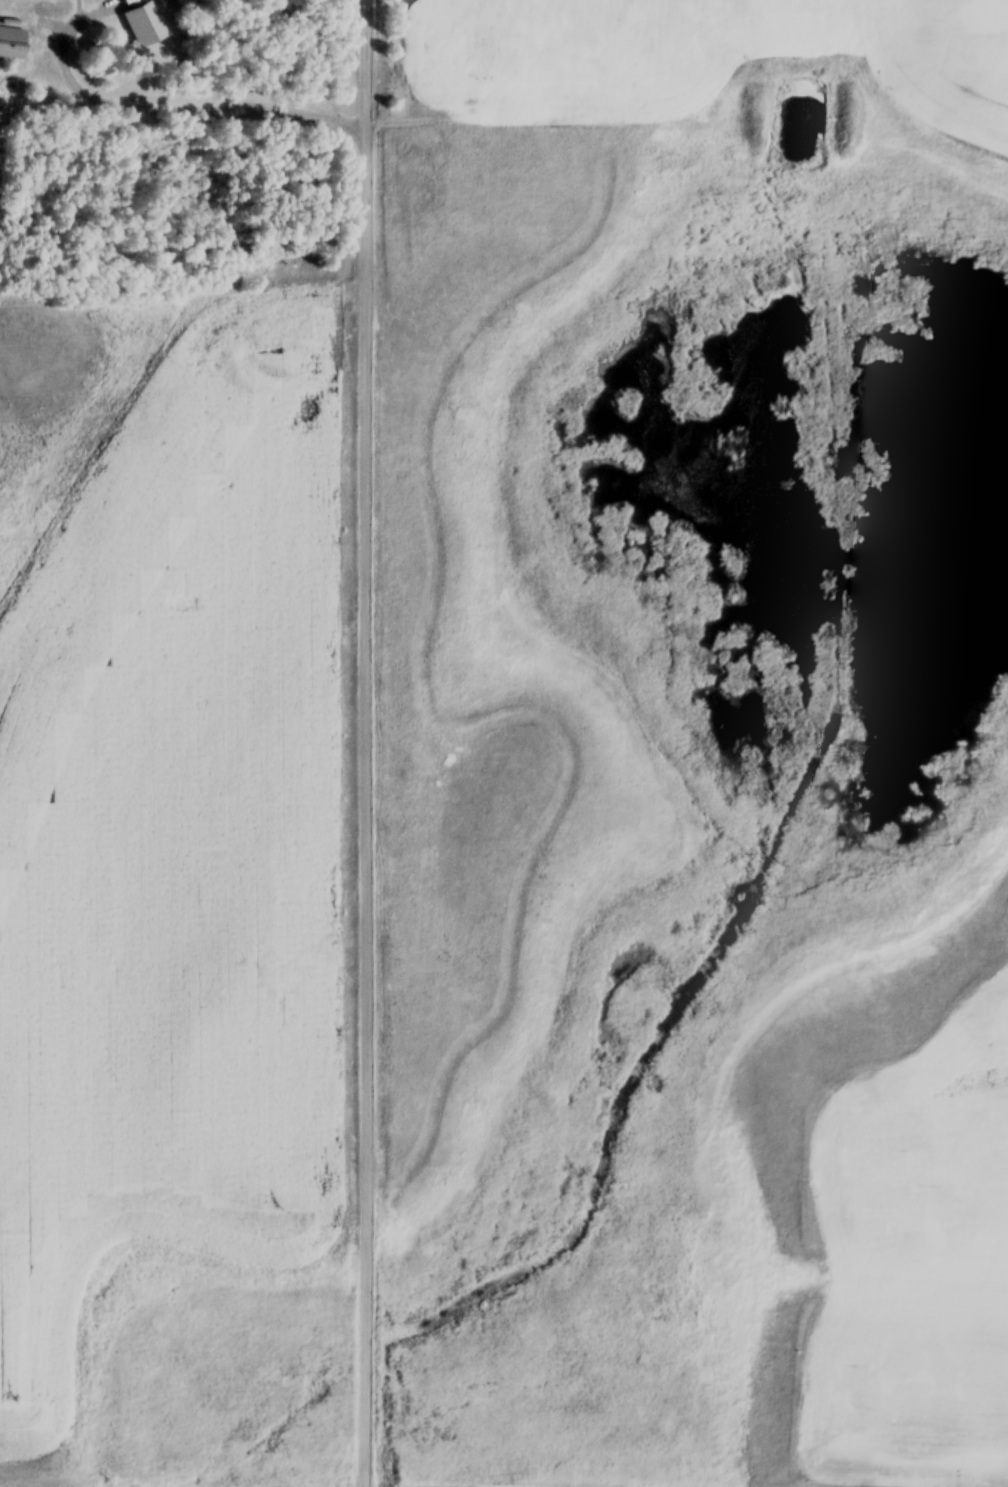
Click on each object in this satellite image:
building: (142, 18)
building: (10, 45)
road: (168, 103)
river: (801, 128)
river: (781, 539)
road: (368, 743)

